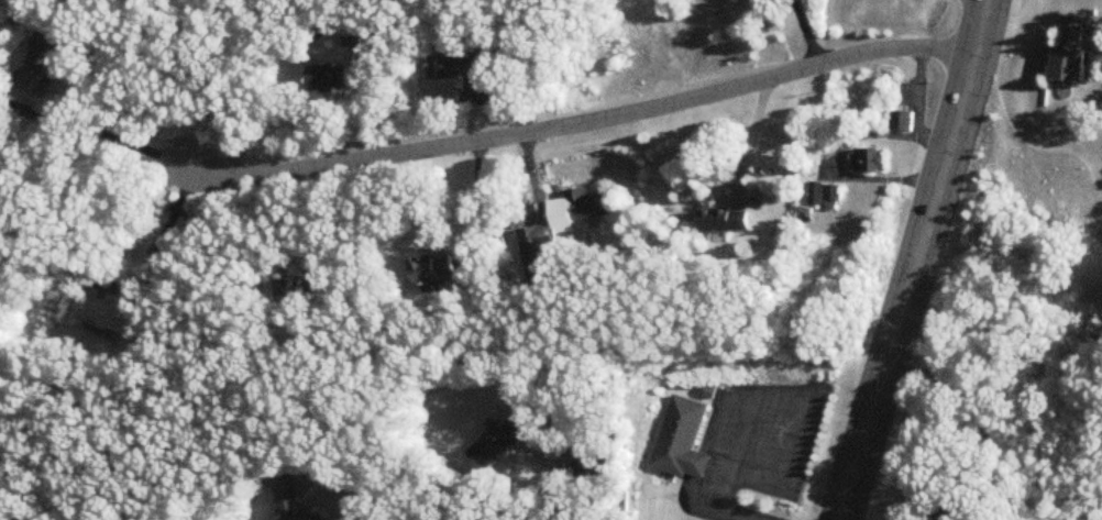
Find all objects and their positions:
building: (363, 40)
building: (1071, 53)
building: (42, 63)
building: (453, 67)
building: (329, 80)
road: (210, 84)
road: (576, 113)
building: (902, 122)
road: (99, 135)
road: (750, 135)
building: (870, 161)
building: (585, 206)
road: (319, 214)
building: (725, 222)
road: (165, 228)
building: (536, 237)
road: (914, 261)
building: (436, 269)
building: (296, 294)
building: (106, 317)
road: (798, 385)
road: (735, 428)
building: (672, 432)
building: (495, 444)
road: (690, 458)
building: (594, 462)
road: (553, 498)
building: (287, 502)
road: (707, 502)
building: (949, 508)
road: (738, 512)

